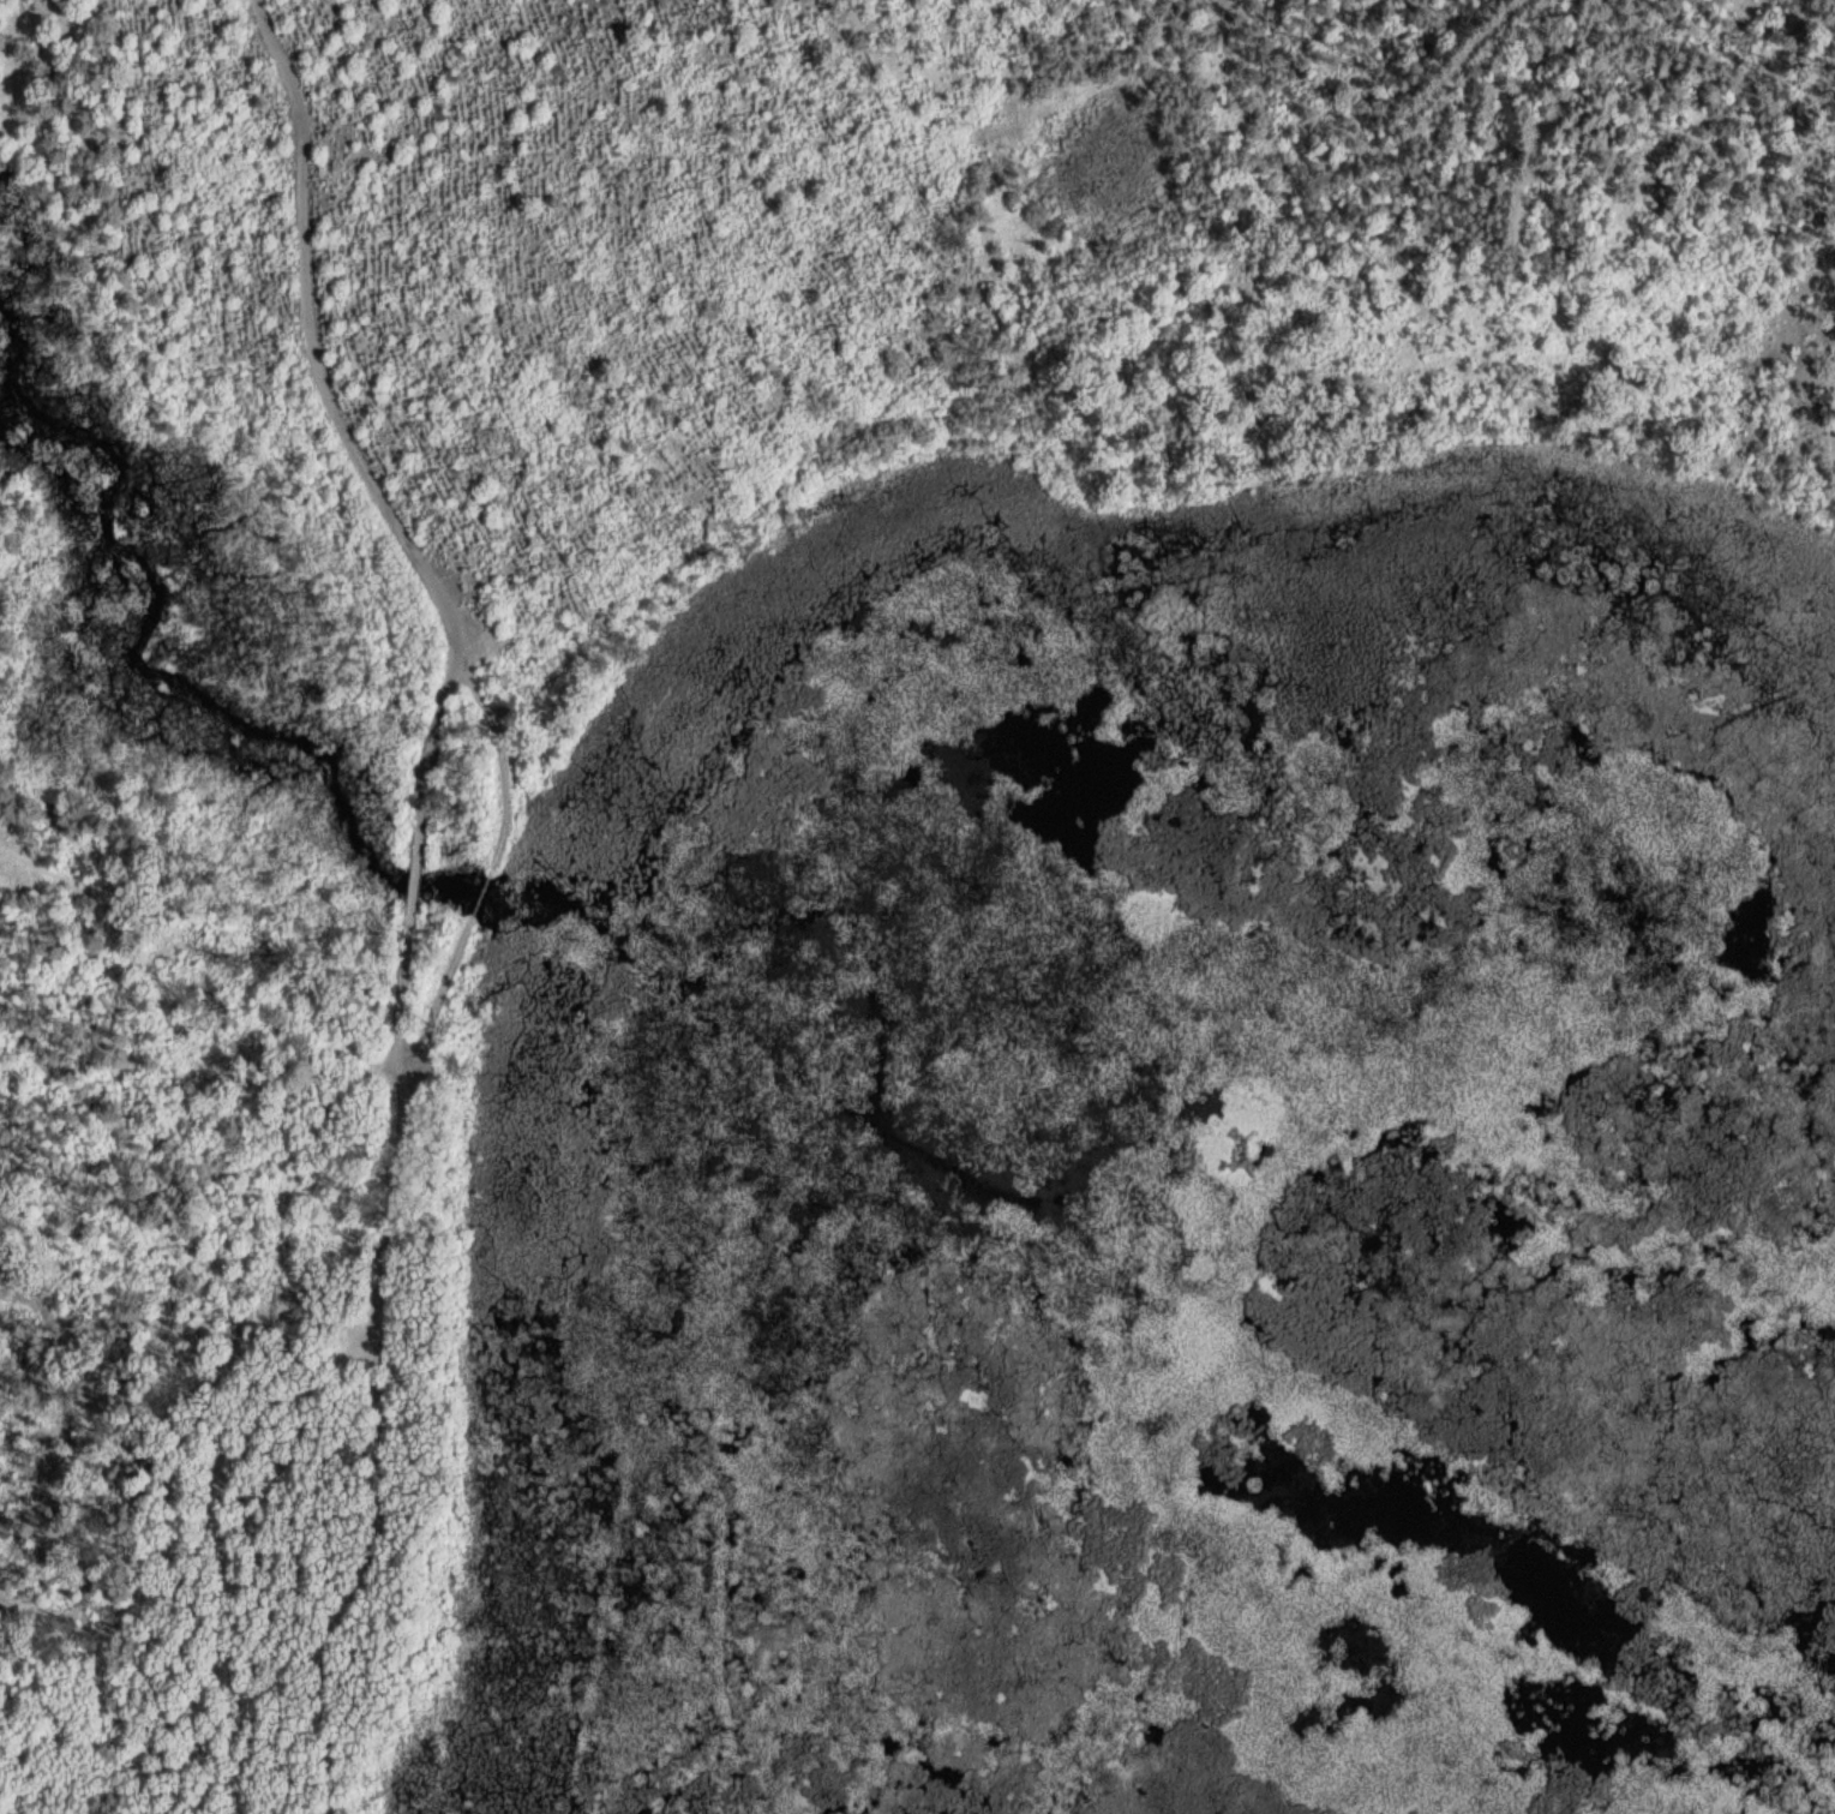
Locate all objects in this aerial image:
road: (1443, 91)
road: (389, 532)
road: (497, 698)
road: (220, 1191)
road: (378, 1442)

